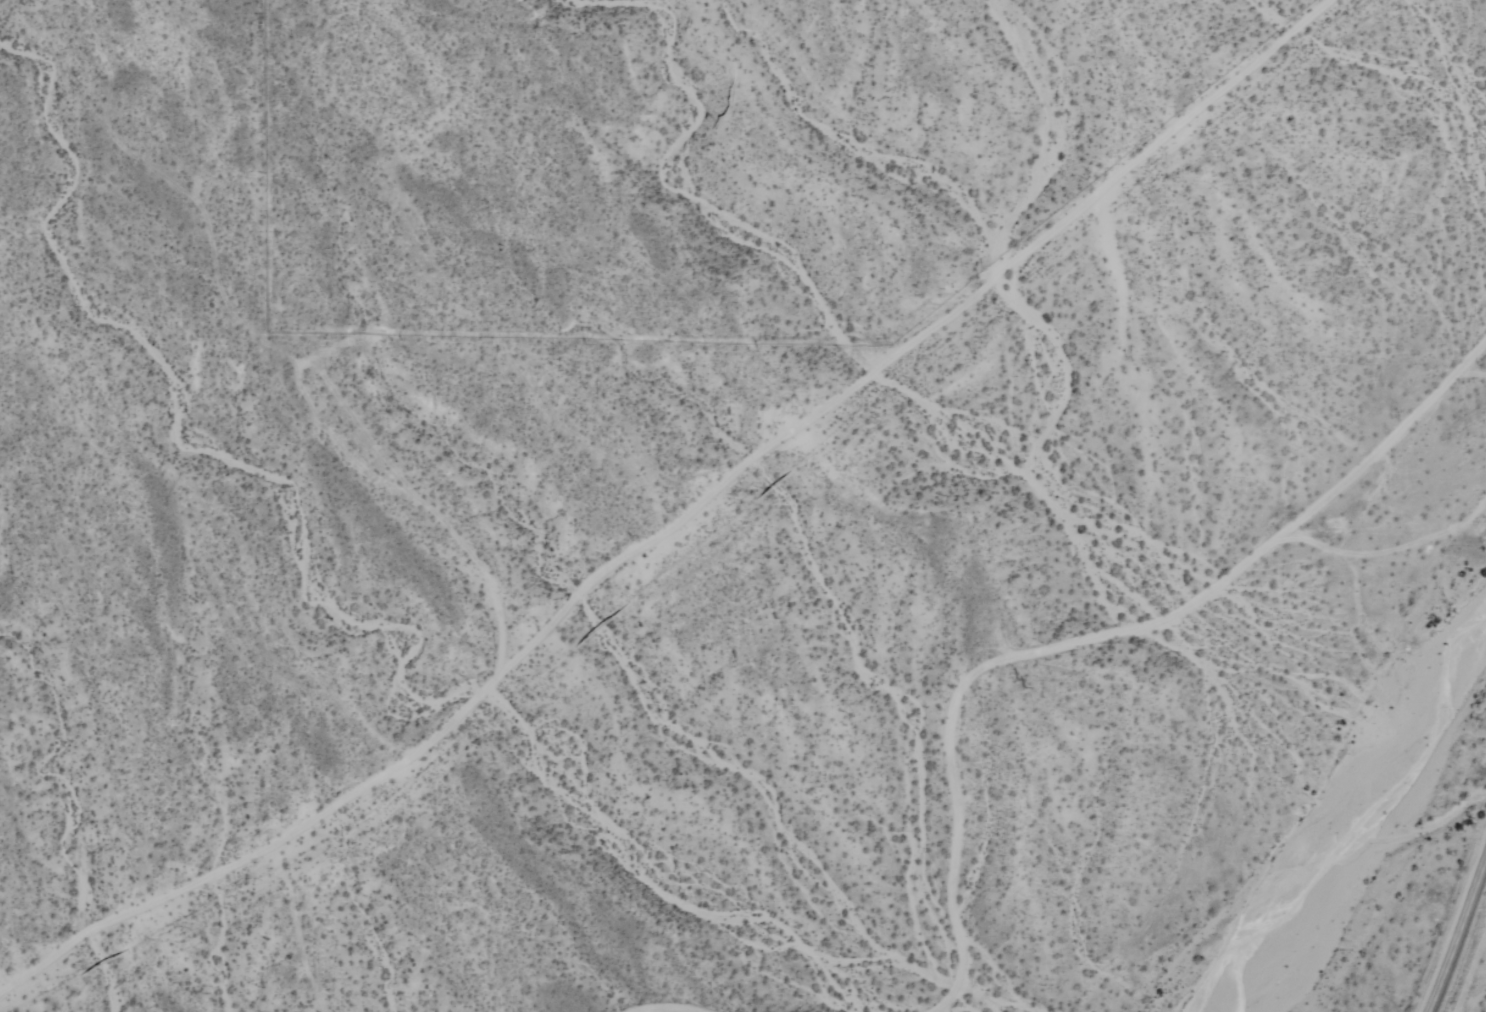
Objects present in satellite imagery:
power tower: (1017, 683)
road: (1458, 936)

